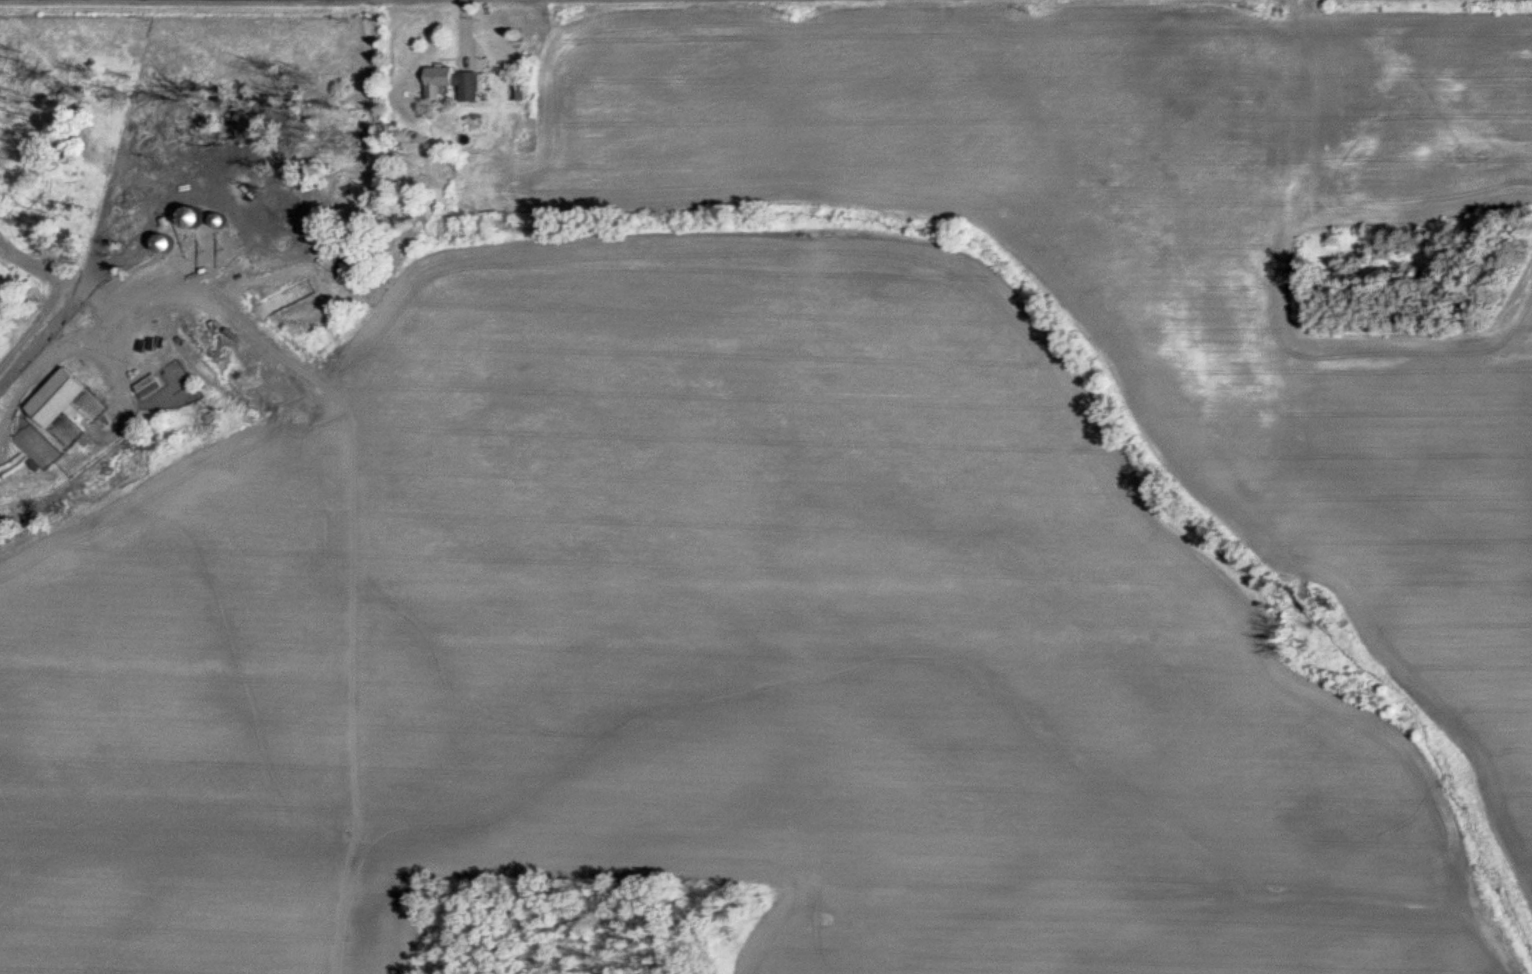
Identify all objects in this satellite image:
building: (469, 53)
building: (454, 82)
building: (169, 243)
building: (152, 385)
building: (62, 397)

